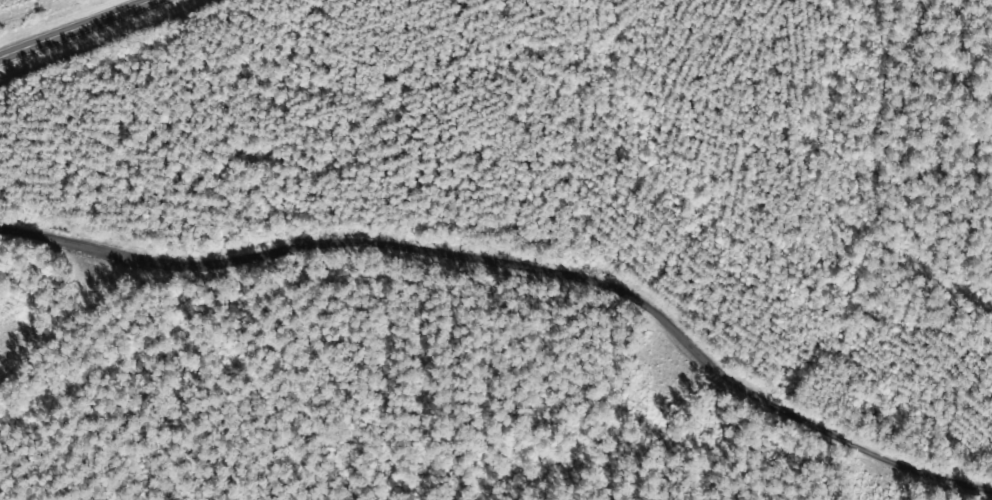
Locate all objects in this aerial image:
road: (68, 26)
road: (521, 269)
road: (64, 335)

